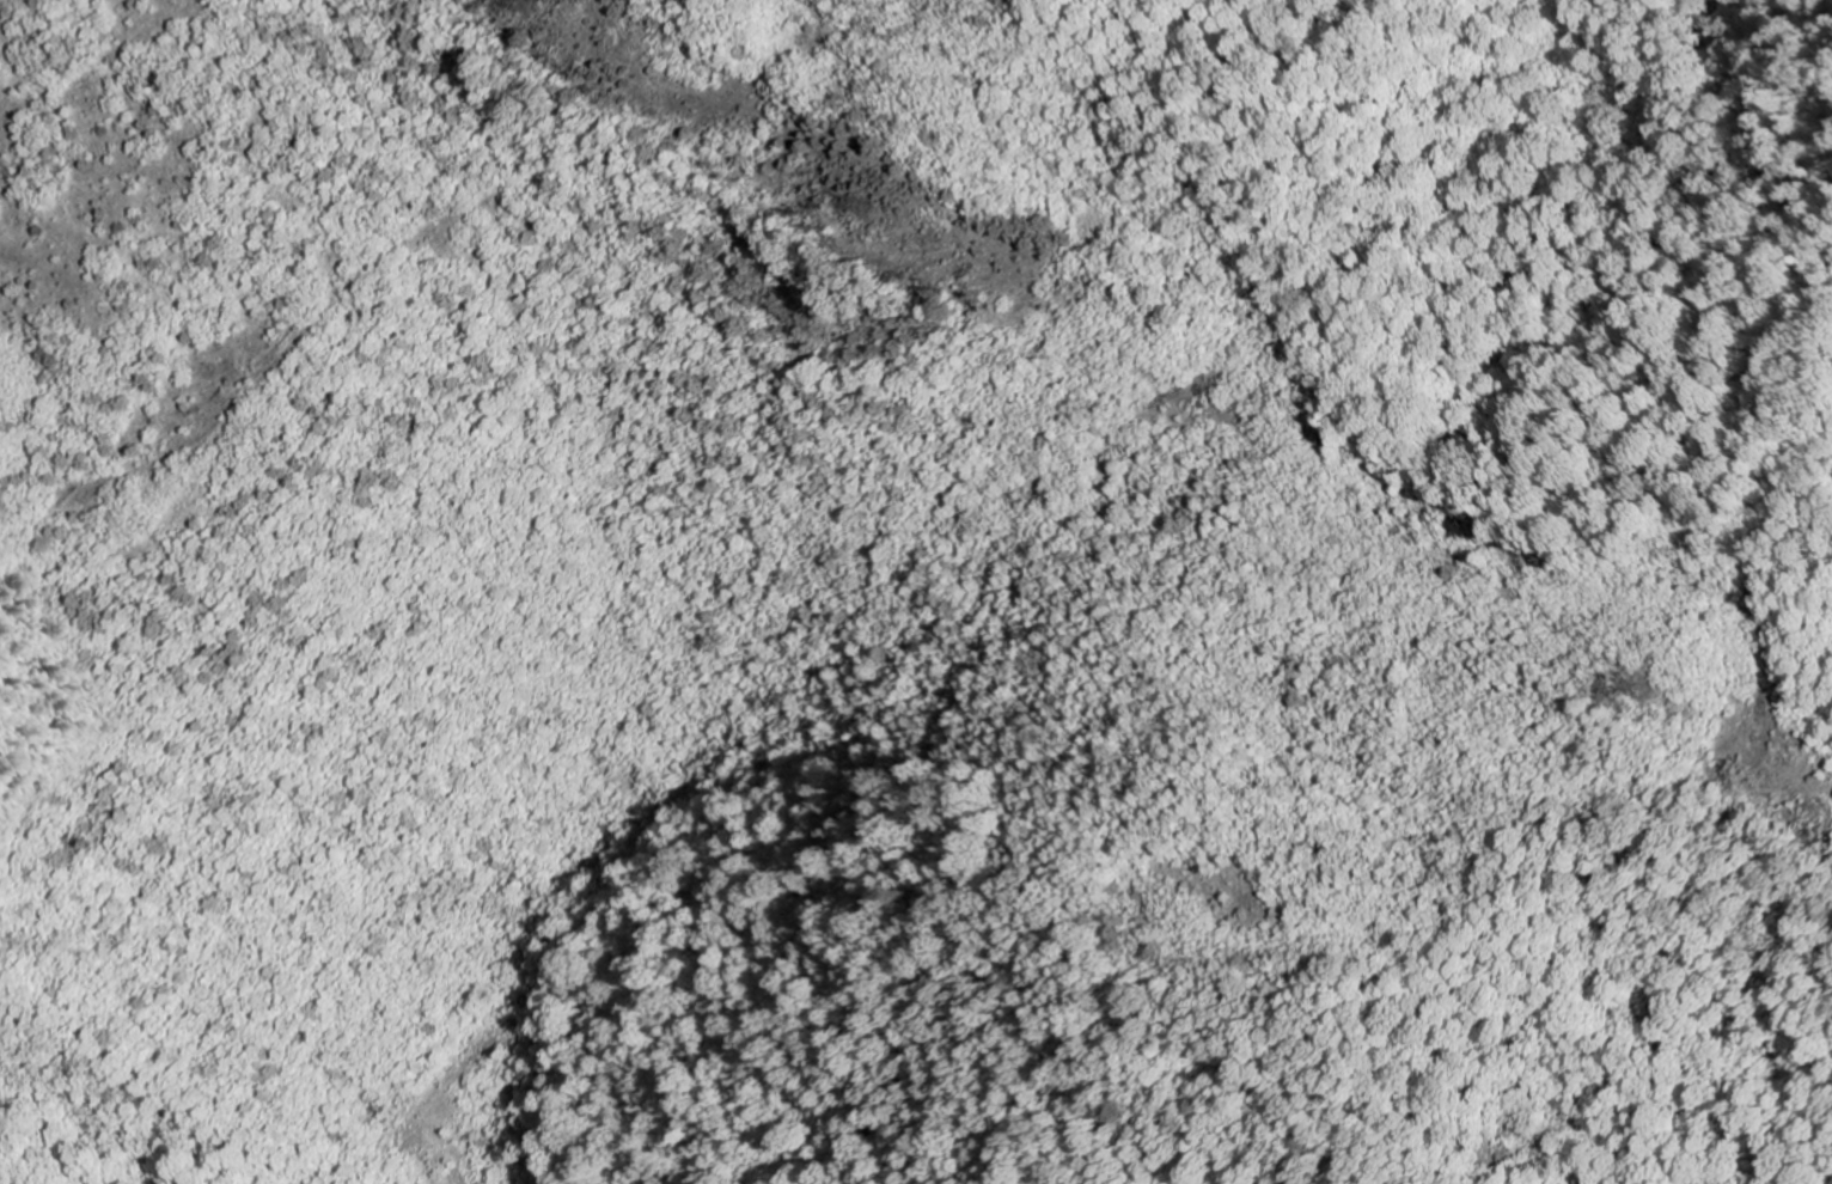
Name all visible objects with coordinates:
power tower: (1649, 694)

